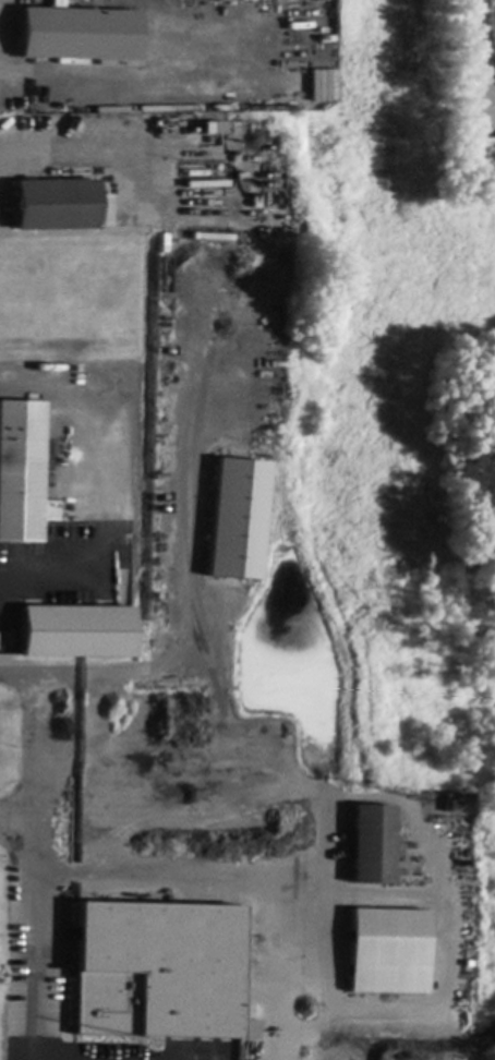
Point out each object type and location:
building: (80, 36)
building: (321, 84)
building: (212, 127)
road: (114, 149)
building: (57, 206)
road: (98, 444)
building: (23, 473)
building: (238, 521)
road: (185, 577)
road: (51, 580)
building: (77, 633)
road: (17, 821)
road: (34, 846)
building: (372, 846)
building: (388, 953)
building: (157, 972)

